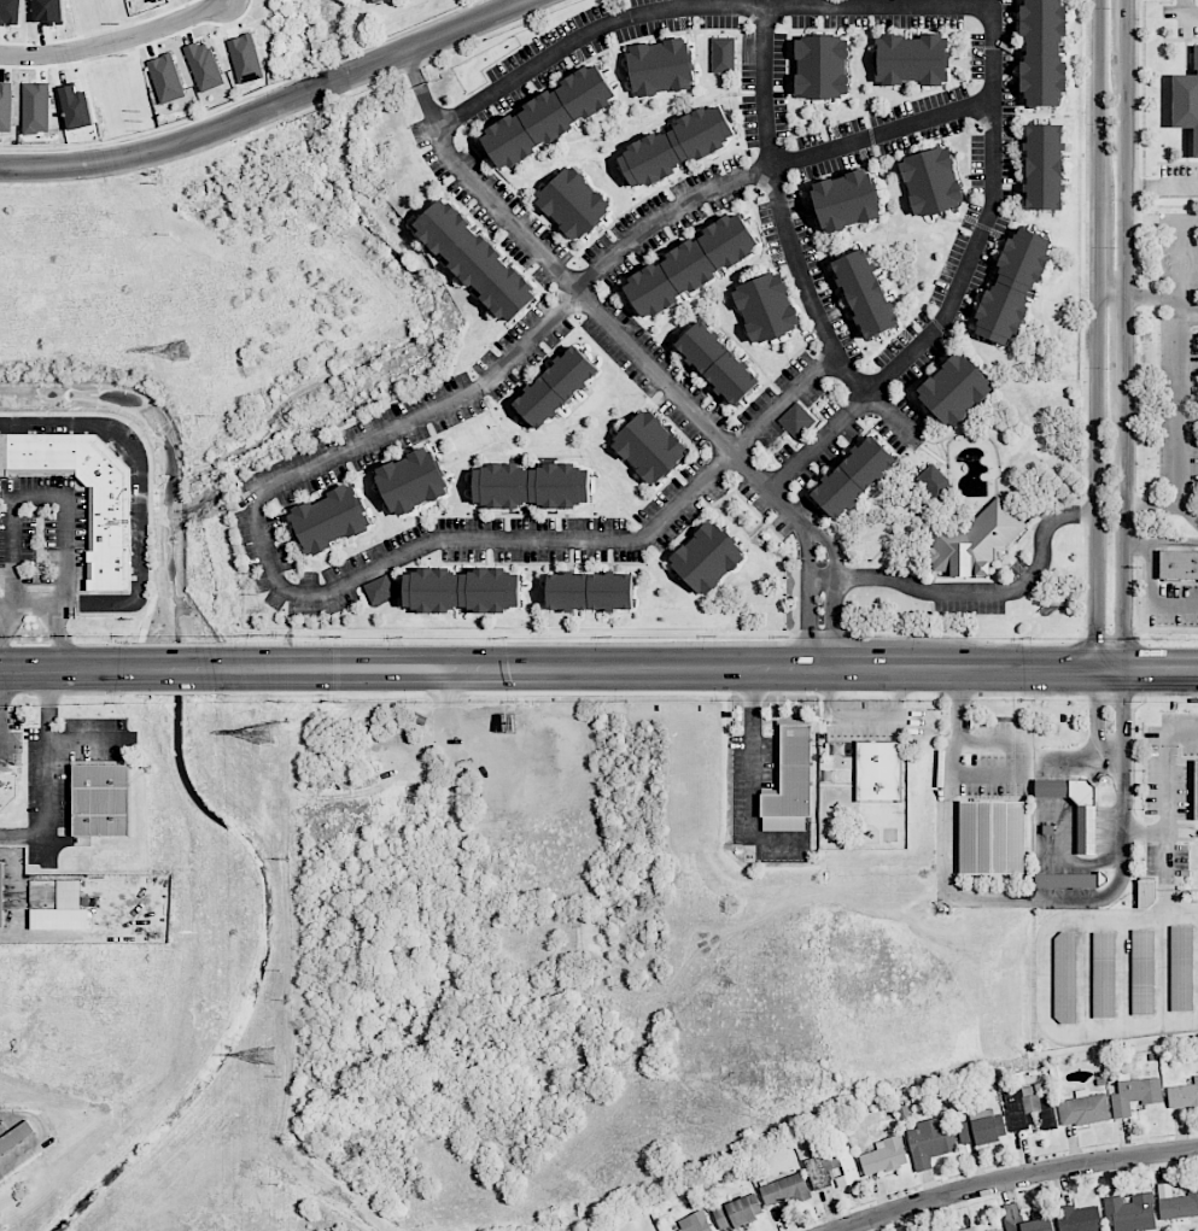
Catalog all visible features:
building: (372, 0)
road: (497, 5)
road: (696, 6)
street lamp: (1108, 7)
road: (1187, 10)
building: (47, 11)
building: (10, 12)
road: (1124, 31)
road: (116, 39)
building: (1044, 53)
building: (723, 54)
road: (387, 57)
building: (245, 58)
building: (912, 59)
building: (204, 65)
building: (661, 66)
building: (823, 66)
building: (165, 78)
road: (1100, 90)
building: (1186, 100)
building: (5, 107)
building: (35, 107)
building: (76, 107)
building: (550, 116)
street lamp: (1108, 124)
building: (676, 145)
road: (127, 157)
building: (1044, 166)
road: (1123, 180)
building: (931, 182)
road: (1159, 187)
building: (846, 200)
building: (574, 203)
road: (1161, 219)
road: (1100, 239)
road: (788, 240)
street lamp: (1115, 247)
building: (477, 259)
road: (607, 265)
building: (691, 265)
road: (960, 281)
building: (1012, 285)
building: (865, 293)
road: (585, 298)
road: (1111, 298)
road: (1162, 298)
building: (766, 306)
road: (1123, 340)
power tower: (180, 350)
building: (718, 362)
street lamp: (1106, 368)
road: (1177, 376)
building: (556, 386)
building: (954, 389)
building: (797, 420)
building: (649, 446)
building: (853, 476)
building: (413, 481)
building: (935, 481)
road: (1099, 483)
building: (532, 485)
street lamp: (1109, 487)
road: (140, 497)
road: (1151, 504)
road: (66, 517)
building: (329, 518)
road: (1122, 526)
road: (819, 535)
building: (110, 537)
road: (539, 537)
road: (805, 538)
building: (975, 541)
road: (1159, 545)
building: (707, 557)
building: (1177, 564)
building: (462, 588)
building: (590, 590)
road: (974, 590)
building: (379, 591)
road: (1150, 598)
road: (23, 600)
road: (807, 610)
road: (834, 610)
road: (5, 617)
street lamp: (1109, 628)
road: (60, 634)
road: (561, 668)
road: (1159, 669)
road: (4, 684)
road: (1122, 709)
road: (1097, 711)
road: (870, 716)
power tower: (267, 732)
road: (1168, 769)
building: (876, 770)
road: (48, 772)
road: (755, 774)
building: (789, 780)
building: (7, 789)
building: (1196, 790)
building: (101, 799)
building: (1086, 826)
road: (1145, 831)
building: (992, 837)
road: (1167, 873)
building: (1069, 880)
building: (1147, 892)
building: (54, 893)
building: (1, 895)
road: (993, 897)
building: (1181, 968)
building: (1143, 972)
building: (1104, 974)
building: (1065, 977)
road: (1047, 978)
power tower: (267, 1056)
building: (1134, 1095)
building: (1184, 1095)
building: (1083, 1109)
building: (981, 1130)
road: (45, 1133)
building: (16, 1137)
building: (929, 1142)
building: (884, 1156)
building: (832, 1167)
road: (1016, 1177)
building: (784, 1190)
building: (1176, 1202)
building: (737, 1212)
building: (1130, 1213)
building: (1041, 1217)
building: (1079, 1218)
building: (695, 1223)
building: (969, 1229)
building: (997, 1230)

